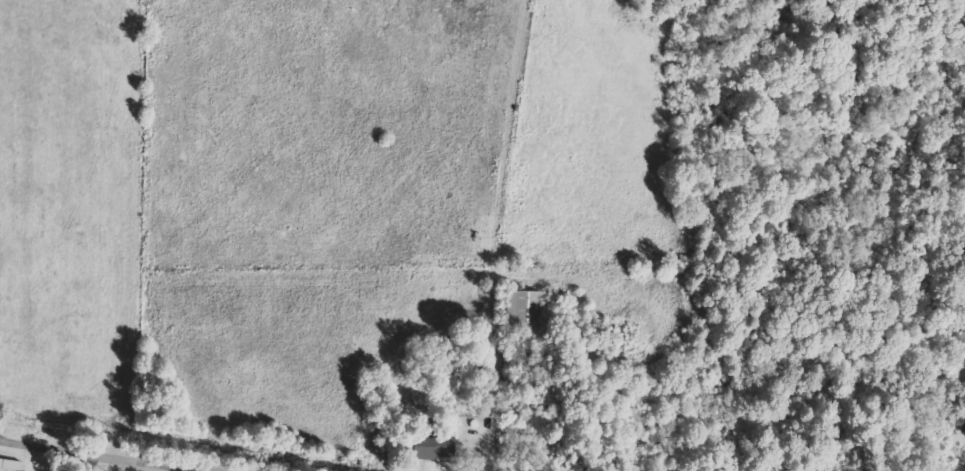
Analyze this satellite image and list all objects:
building: (526, 309)
building: (436, 447)
road: (91, 456)

